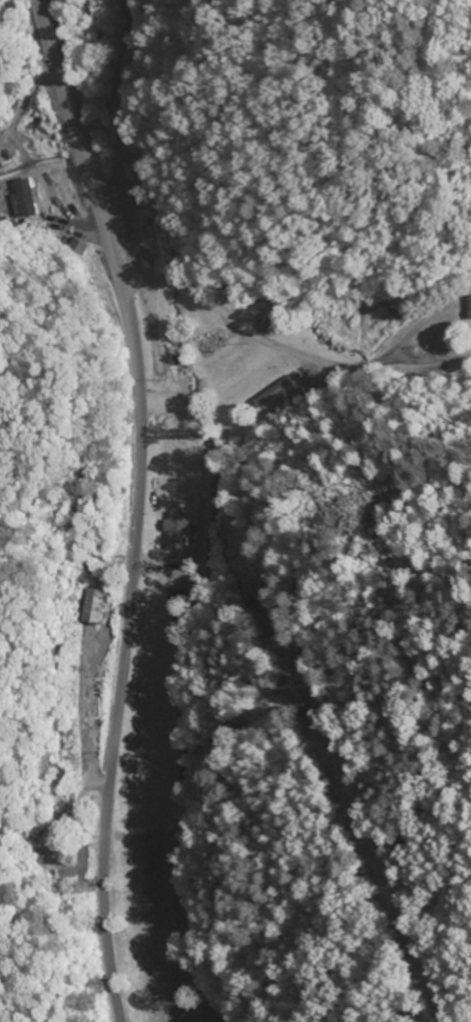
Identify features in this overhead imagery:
building: (27, 198)
road: (53, 277)
building: (470, 302)
building: (213, 343)
road: (287, 361)
building: (325, 383)
building: (282, 392)
road: (137, 506)
building: (99, 606)

